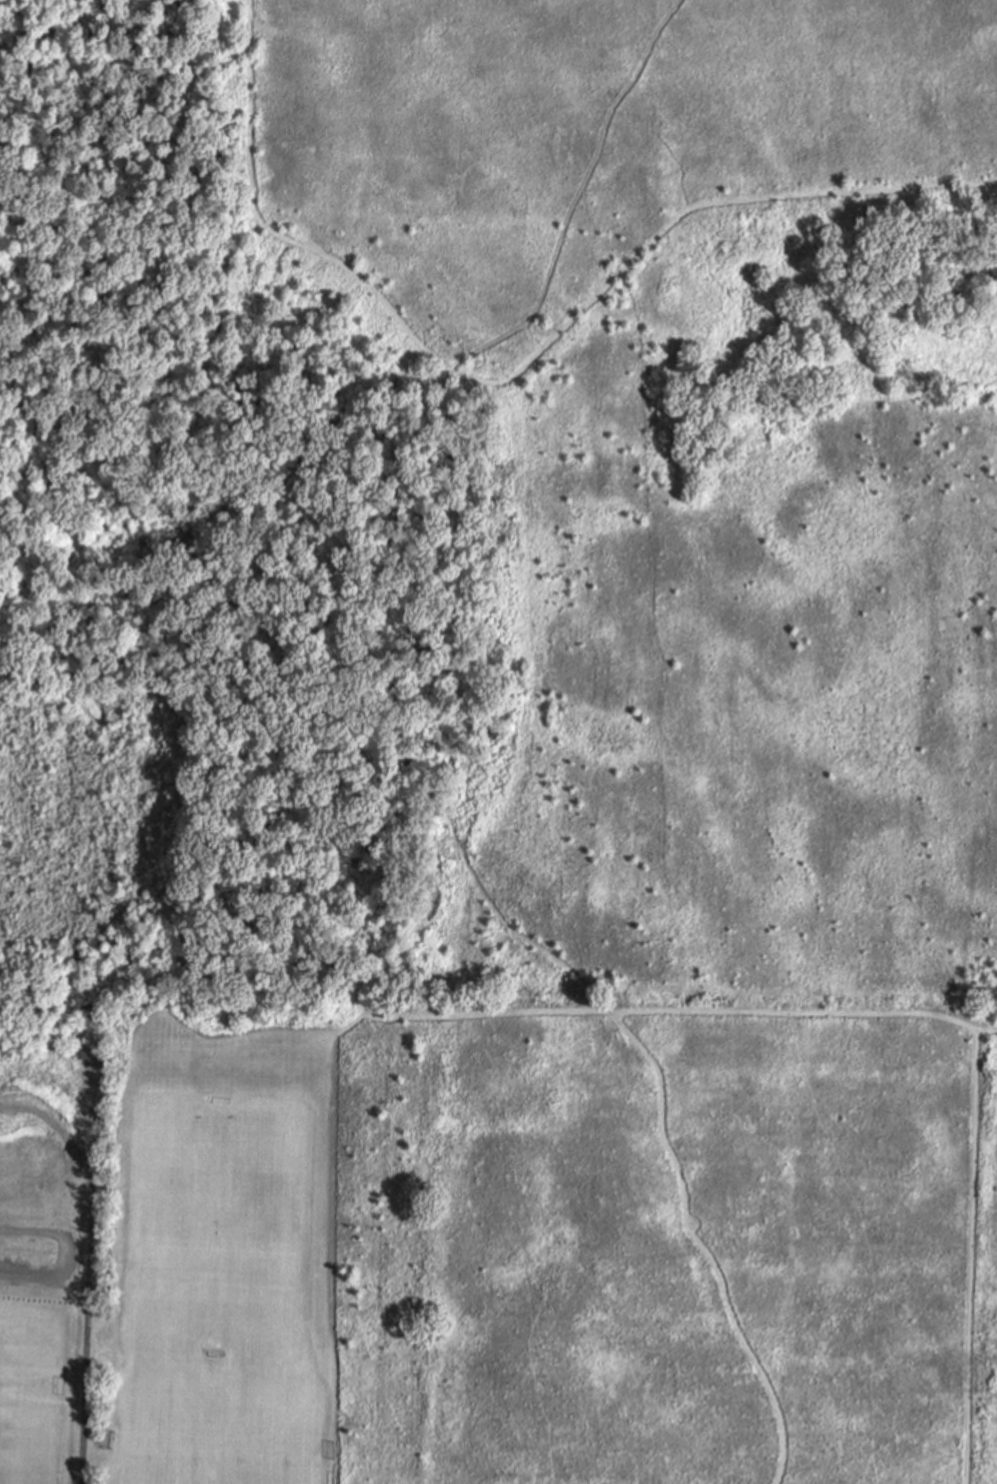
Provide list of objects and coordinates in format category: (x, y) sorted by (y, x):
road: (521, 370)
road: (662, 656)
road: (372, 755)
road: (508, 1012)
park: (212, 1223)
park: (166, 1238)
road: (72, 1256)
road: (971, 1258)
road: (87, 1328)
park: (29, 1392)
park: (216, 1427)

